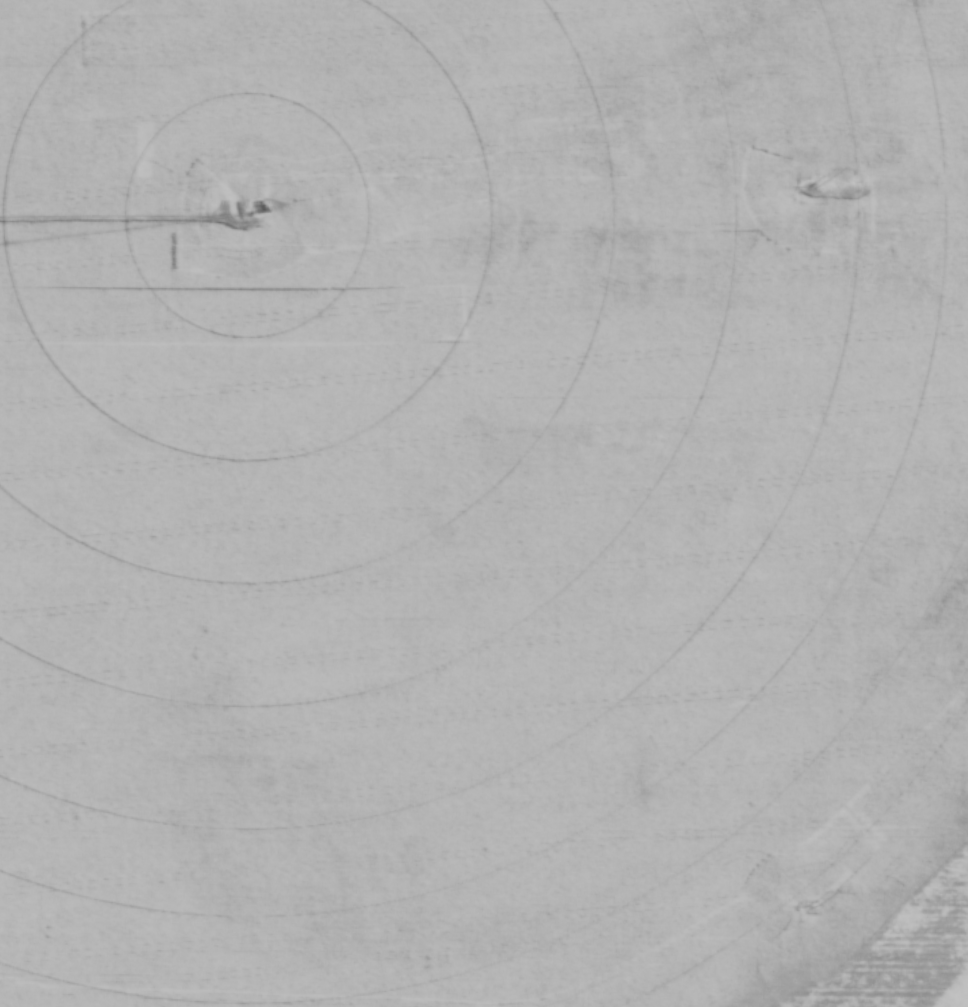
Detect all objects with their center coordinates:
power tower: (814, 190)
power tower: (810, 908)

